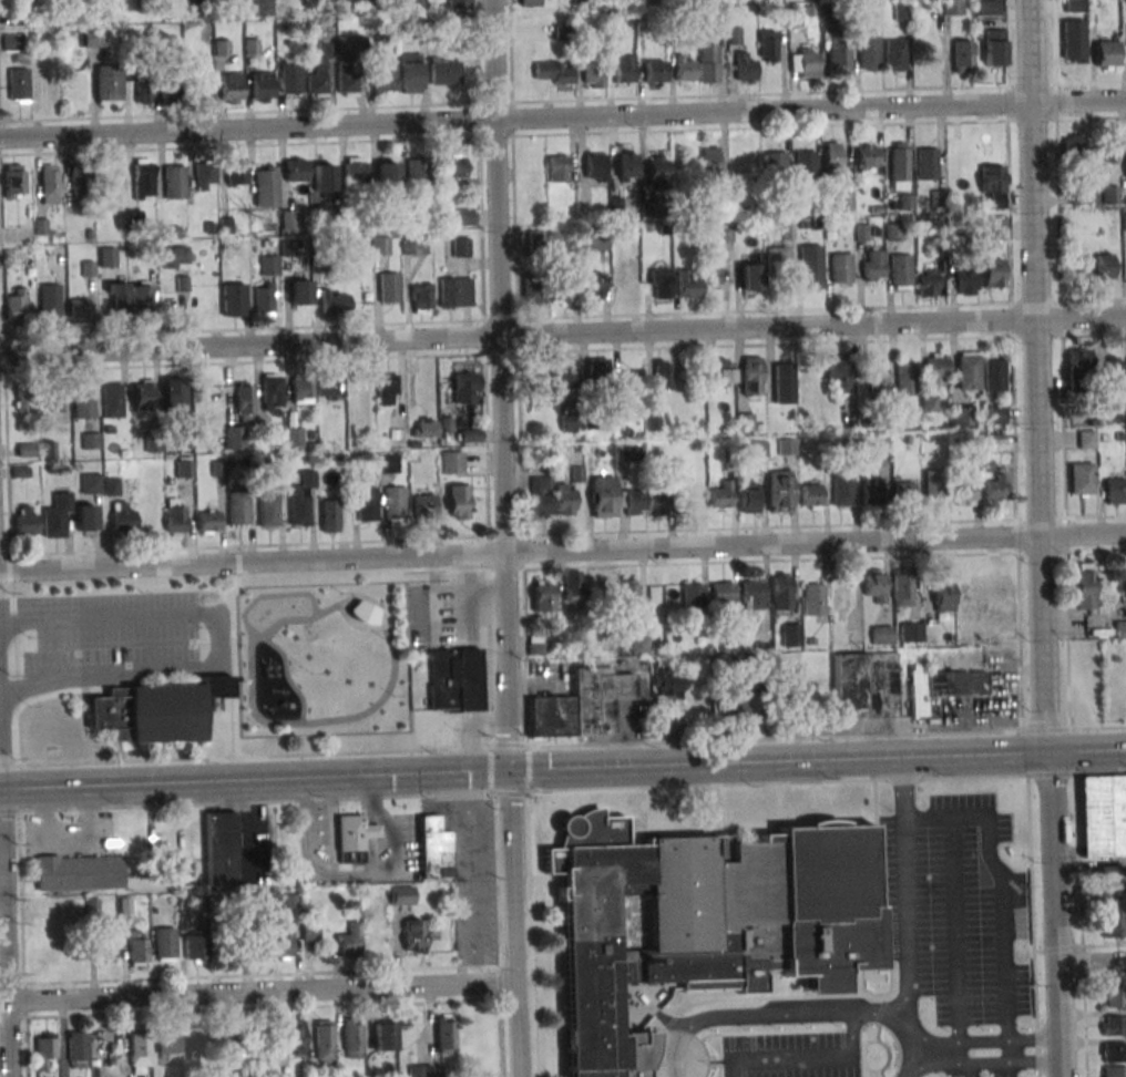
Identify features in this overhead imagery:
building: (582, 1)
building: (645, 1)
building: (530, 2)
building: (459, 4)
building: (952, 7)
building: (985, 7)
building: (901, 11)
building: (716, 23)
building: (94, 38)
building: (12, 42)
building: (768, 45)
building: (994, 47)
building: (838, 53)
building: (895, 54)
building: (1106, 54)
building: (868, 55)
building: (962, 57)
building: (803, 62)
building: (708, 63)
building: (623, 68)
building: (685, 69)
building: (745, 69)
building: (444, 72)
building: (553, 72)
building: (410, 73)
building: (655, 73)
building: (593, 74)
building: (290, 78)
building: (347, 78)
building: (383, 78)
building: (317, 82)
building: (108, 83)
building: (18, 85)
building: (263, 85)
building: (232, 88)
building: (204, 90)
building: (142, 91)
building: (172, 94)
road: (562, 116)
building: (831, 156)
building: (866, 157)
building: (775, 162)
building: (709, 163)
building: (927, 163)
building: (805, 164)
building: (899, 165)
building: (1074, 165)
building: (453, 166)
building: (595, 166)
building: (623, 166)
building: (557, 167)
building: (416, 168)
building: (296, 170)
building: (657, 171)
building: (356, 172)
building: (235, 173)
building: (387, 175)
building: (205, 177)
building: (324, 177)
building: (143, 178)
building: (13, 182)
building: (79, 182)
building: (173, 182)
building: (49, 184)
building: (993, 185)
building: (265, 186)
building: (1110, 194)
building: (843, 202)
building: (464, 216)
building: (129, 219)
building: (290, 219)
building: (1124, 220)
building: (993, 227)
building: (893, 232)
building: (723, 234)
building: (595, 240)
building: (380, 246)
building: (414, 246)
building: (460, 247)
building: (173, 257)
building: (777, 258)
building: (269, 265)
building: (873, 265)
building: (810, 266)
building: (841, 267)
building: (1104, 268)
building: (712, 271)
building: (901, 271)
building: (993, 273)
building: (750, 276)
building: (965, 279)
building: (928, 281)
building: (661, 283)
building: (592, 285)
building: (687, 285)
building: (389, 287)
building: (532, 288)
building: (562, 290)
building: (298, 291)
building: (454, 291)
building: (140, 297)
building: (422, 297)
building: (116, 298)
building: (49, 299)
building: (233, 299)
building: (263, 299)
building: (336, 301)
building: (17, 305)
building: (78, 309)
road: (562, 334)
building: (936, 367)
building: (1079, 368)
building: (597, 371)
building: (724, 371)
building: (969, 371)
building: (1114, 373)
building: (663, 375)
building: (838, 375)
building: (994, 376)
road: (1036, 376)
building: (751, 378)
building: (877, 379)
building: (905, 379)
building: (563, 380)
building: (784, 381)
building: (327, 387)
building: (386, 387)
building: (629, 387)
building: (464, 388)
building: (301, 390)
building: (272, 391)
building: (173, 393)
building: (143, 394)
building: (24, 396)
building: (57, 398)
building: (245, 398)
building: (112, 400)
building: (83, 402)
building: (997, 414)
building: (961, 416)
building: (652, 419)
building: (745, 421)
building: (424, 428)
building: (470, 435)
building: (233, 437)
building: (294, 437)
building: (1087, 439)
building: (91, 440)
building: (756, 450)
building: (626, 452)
building: (451, 462)
building: (388, 464)
building: (184, 468)
building: (1082, 479)
building: (91, 483)
building: (933, 486)
building: (995, 488)
building: (964, 489)
building: (842, 490)
building: (1115, 490)
building: (780, 491)
building: (872, 492)
building: (903, 492)
building: (749, 494)
building: (541, 495)
building: (720, 495)
building: (811, 495)
building: (603, 496)
building: (301, 499)
building: (565, 499)
building: (658, 500)
building: (458, 501)
building: (634, 502)
building: (366, 503)
building: (422, 504)
building: (395, 505)
building: (238, 507)
building: (268, 512)
building: (329, 515)
building: (123, 516)
building: (175, 516)
building: (57, 517)
building: (84, 519)
building: (27, 522)
building: (208, 522)
road: (504, 538)
road: (562, 547)
building: (876, 584)
building: (1084, 585)
building: (573, 586)
building: (902, 587)
building: (723, 592)
building: (782, 592)
building: (628, 593)
building: (754, 594)
road: (270, 595)
building: (692, 595)
building: (542, 596)
building: (815, 599)
building: (944, 599)
building: (842, 603)
building: (364, 613)
building: (912, 632)
building: (791, 635)
building: (882, 635)
road: (216, 643)
building: (639, 644)
building: (535, 645)
road: (234, 658)
park: (320, 659)
road: (287, 677)
building: (455, 679)
building: (864, 686)
building: (941, 686)
road: (385, 695)
building: (667, 698)
building: (581, 705)
building: (720, 708)
building: (154, 710)
building: (751, 712)
road: (0, 724)
road: (1, 740)
road: (562, 746)
road: (562, 767)
traffic signals: (509, 770)
road: (768, 782)
road: (902, 787)
road: (367, 800)
road: (714, 807)
building: (1103, 814)
road: (331, 824)
road: (713, 829)
road: (368, 832)
building: (352, 838)
building: (221, 848)
building: (434, 849)
road: (309, 866)
road: (877, 871)
building: (78, 873)
building: (183, 873)
building: (1113, 874)
road: (1002, 884)
building: (401, 895)
building: (1112, 902)
parking lot: (954, 909)
road: (1032, 913)
road: (1056, 913)
building: (705, 921)
road: (905, 921)
road: (535, 922)
building: (1114, 926)
road: (956, 929)
building: (310, 931)
road: (6, 933)
building: (416, 934)
building: (106, 942)
building: (281, 942)
building: (165, 943)
building: (356, 945)
building: (196, 946)
building: (137, 947)
road: (1082, 962)
road: (1092, 962)
road: (852, 983)
road: (257, 991)
road: (772, 996)
building: (1114, 997)
road: (685, 999)
road: (795, 1015)
road: (661, 1018)
building: (1114, 1025)
road: (782, 1030)
building: (444, 1035)
building: (291, 1036)
building: (385, 1036)
road: (872, 1036)
building: (352, 1038)
building: (167, 1042)
building: (324, 1042)
road: (983, 1042)
building: (226, 1043)
road: (564, 1047)
building: (43, 1049)
building: (78, 1049)
building: (140, 1052)
road: (1010, 1052)
road: (960, 1053)
building: (1114, 1053)
parking lot: (792, 1055)
road: (805, 1056)
road: (704, 1058)
road: (695, 1063)
road: (984, 1063)
building: (422, 1070)
building: (1114, 1071)
parking lot: (963, 1074)
parking lot: (1003, 1074)

